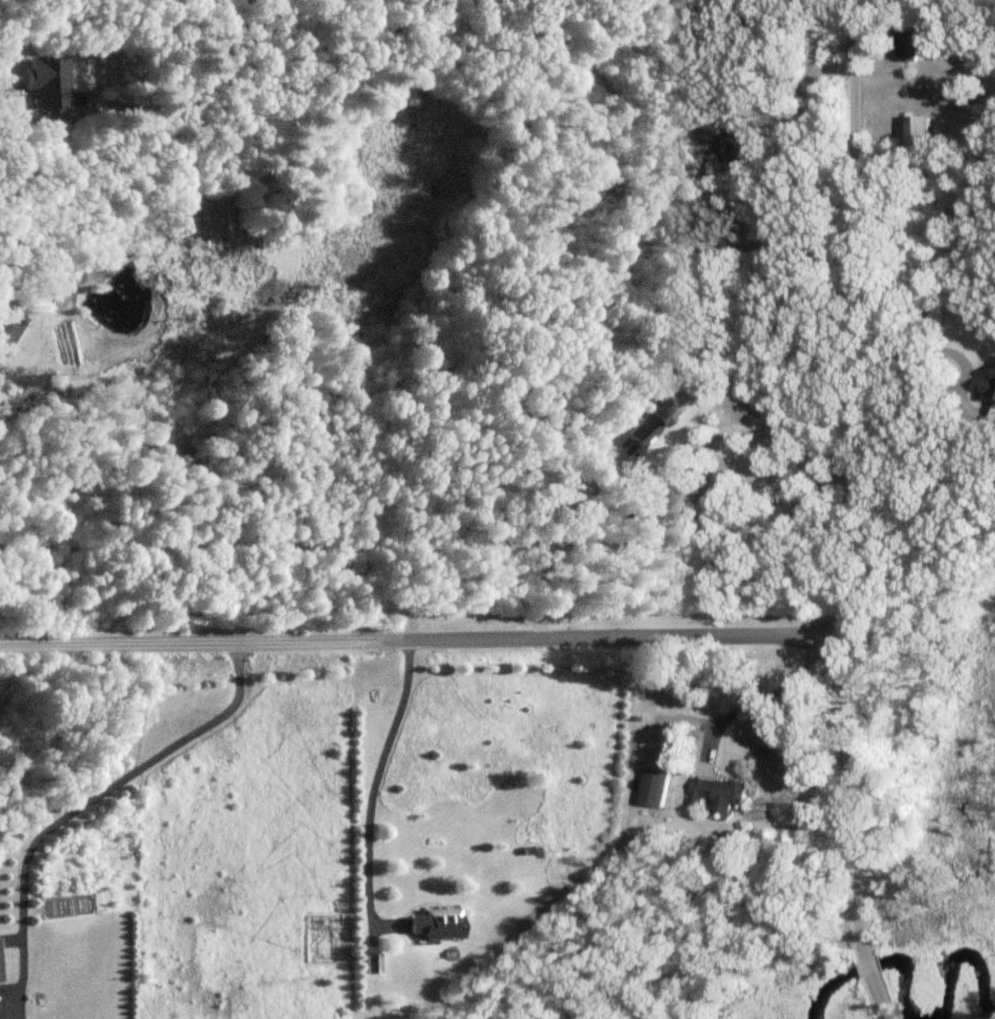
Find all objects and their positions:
building: (906, 47)
building: (917, 132)
building: (8, 329)
road: (936, 373)
building: (988, 388)
road: (973, 416)
road: (855, 470)
road: (549, 532)
road: (422, 638)
road: (756, 696)
road: (377, 780)
building: (654, 788)
building: (717, 793)
road: (85, 805)
building: (435, 924)
road: (866, 957)
building: (374, 964)
road: (878, 998)

